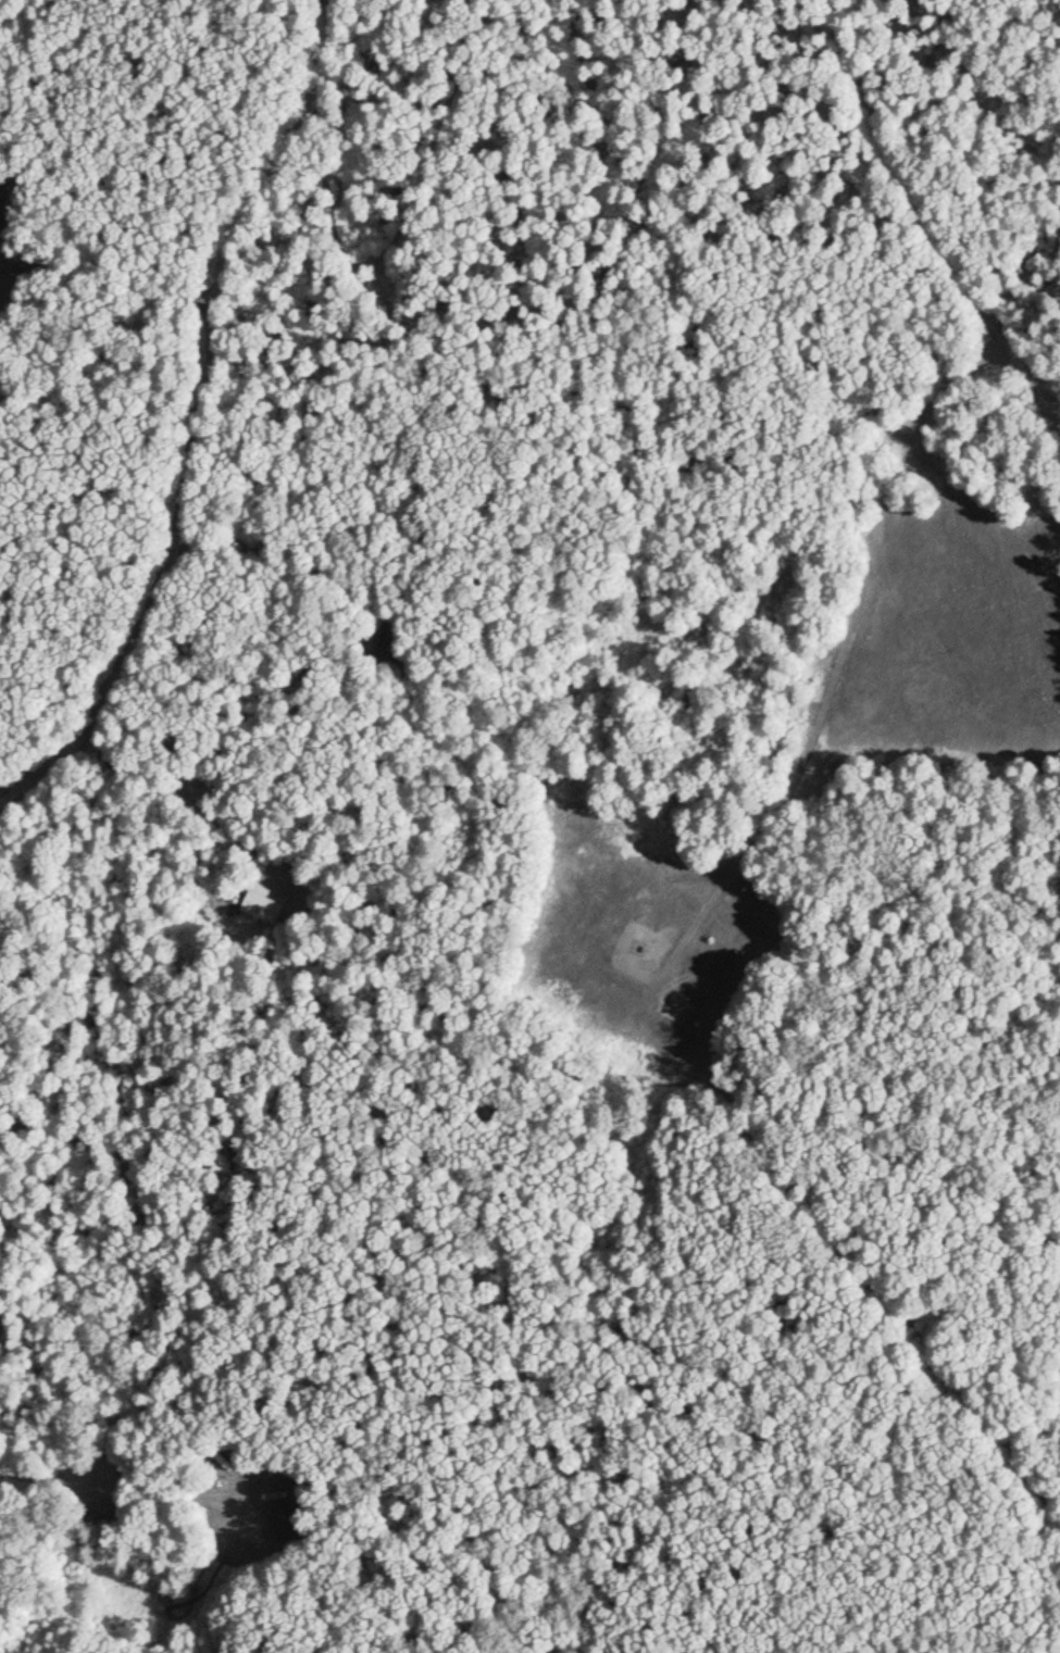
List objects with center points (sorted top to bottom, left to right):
road: (934, 222)
road: (105, 278)
road: (214, 422)
road: (837, 665)
building: (253, 779)
road: (255, 800)
building: (277, 853)
building: (300, 856)
road: (288, 886)
building: (260, 904)
petroleum well: (639, 949)
road: (127, 1424)
road: (211, 1440)
building: (246, 1450)
road: (21, 1472)
road: (103, 1475)
road: (196, 1495)
building: (286, 1521)

